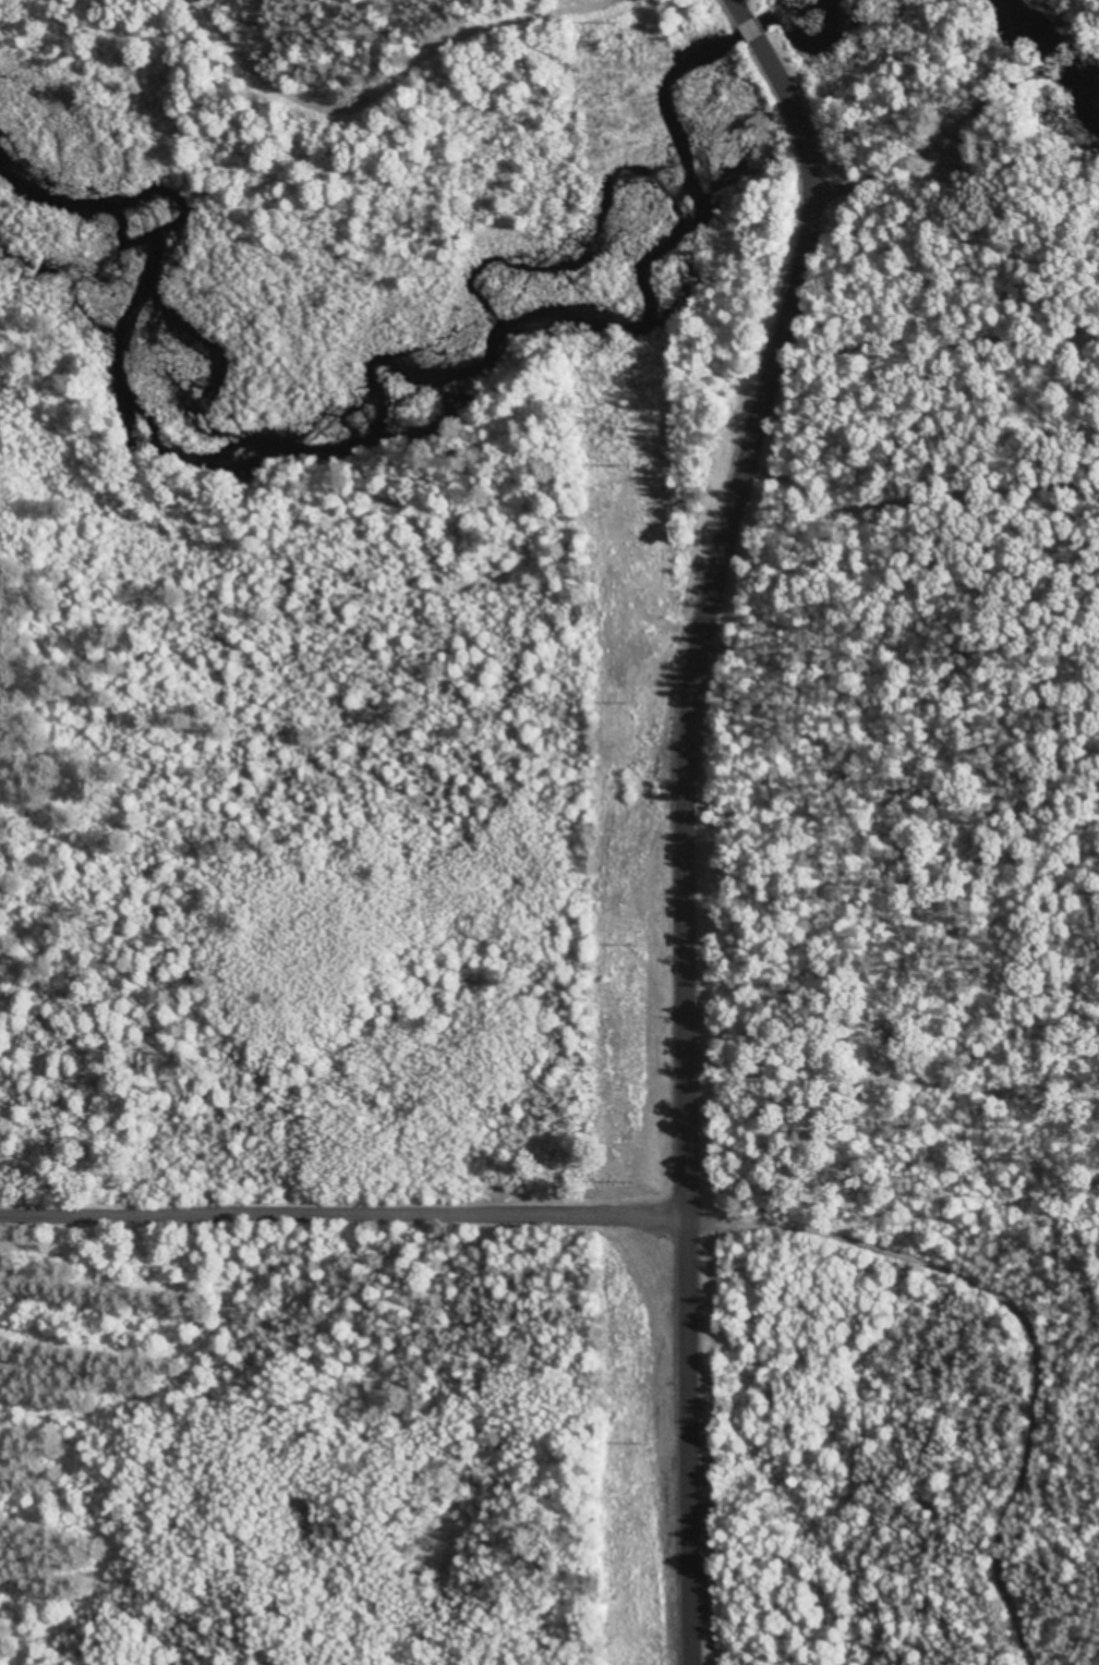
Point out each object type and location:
road: (360, 63)
road: (691, 813)
road: (964, 1175)
road: (348, 1204)
road: (910, 1271)

